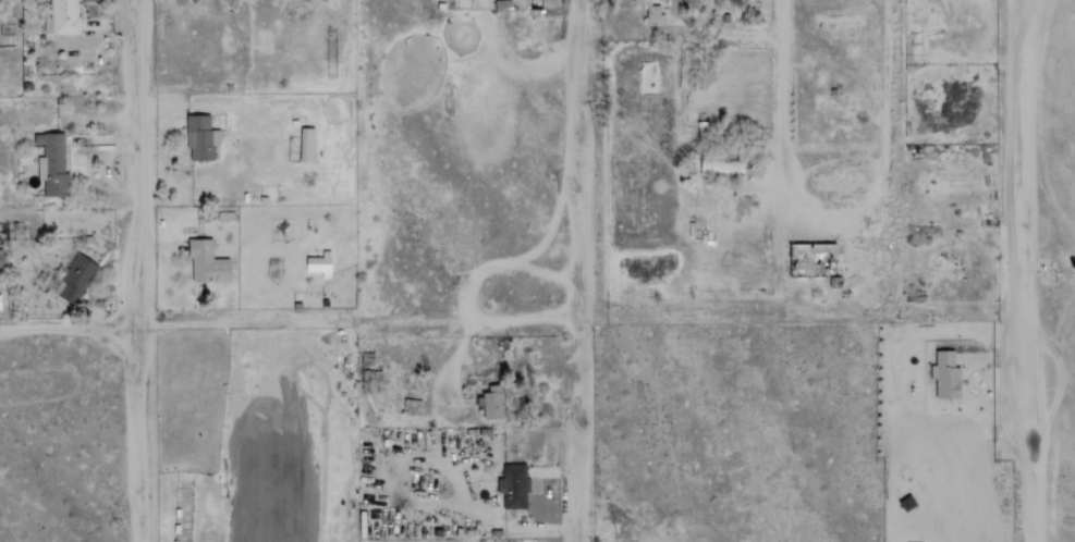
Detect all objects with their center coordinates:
building: (691, 3)
building: (651, 12)
building: (63, 16)
road: (110, 24)
building: (201, 138)
building: (307, 145)
building: (52, 165)
road: (831, 217)
road: (158, 247)
building: (1, 259)
building: (207, 263)
building: (320, 264)
road: (133, 270)
road: (575, 271)
road: (1018, 271)
building: (76, 280)
road: (66, 325)
building: (945, 375)
building: (493, 403)
building: (514, 485)

